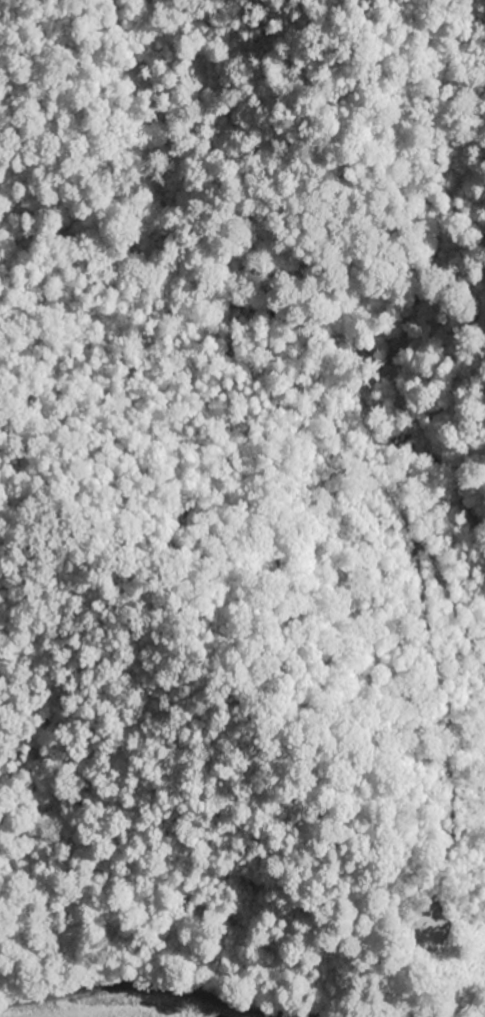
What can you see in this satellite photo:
road: (144, 987)

